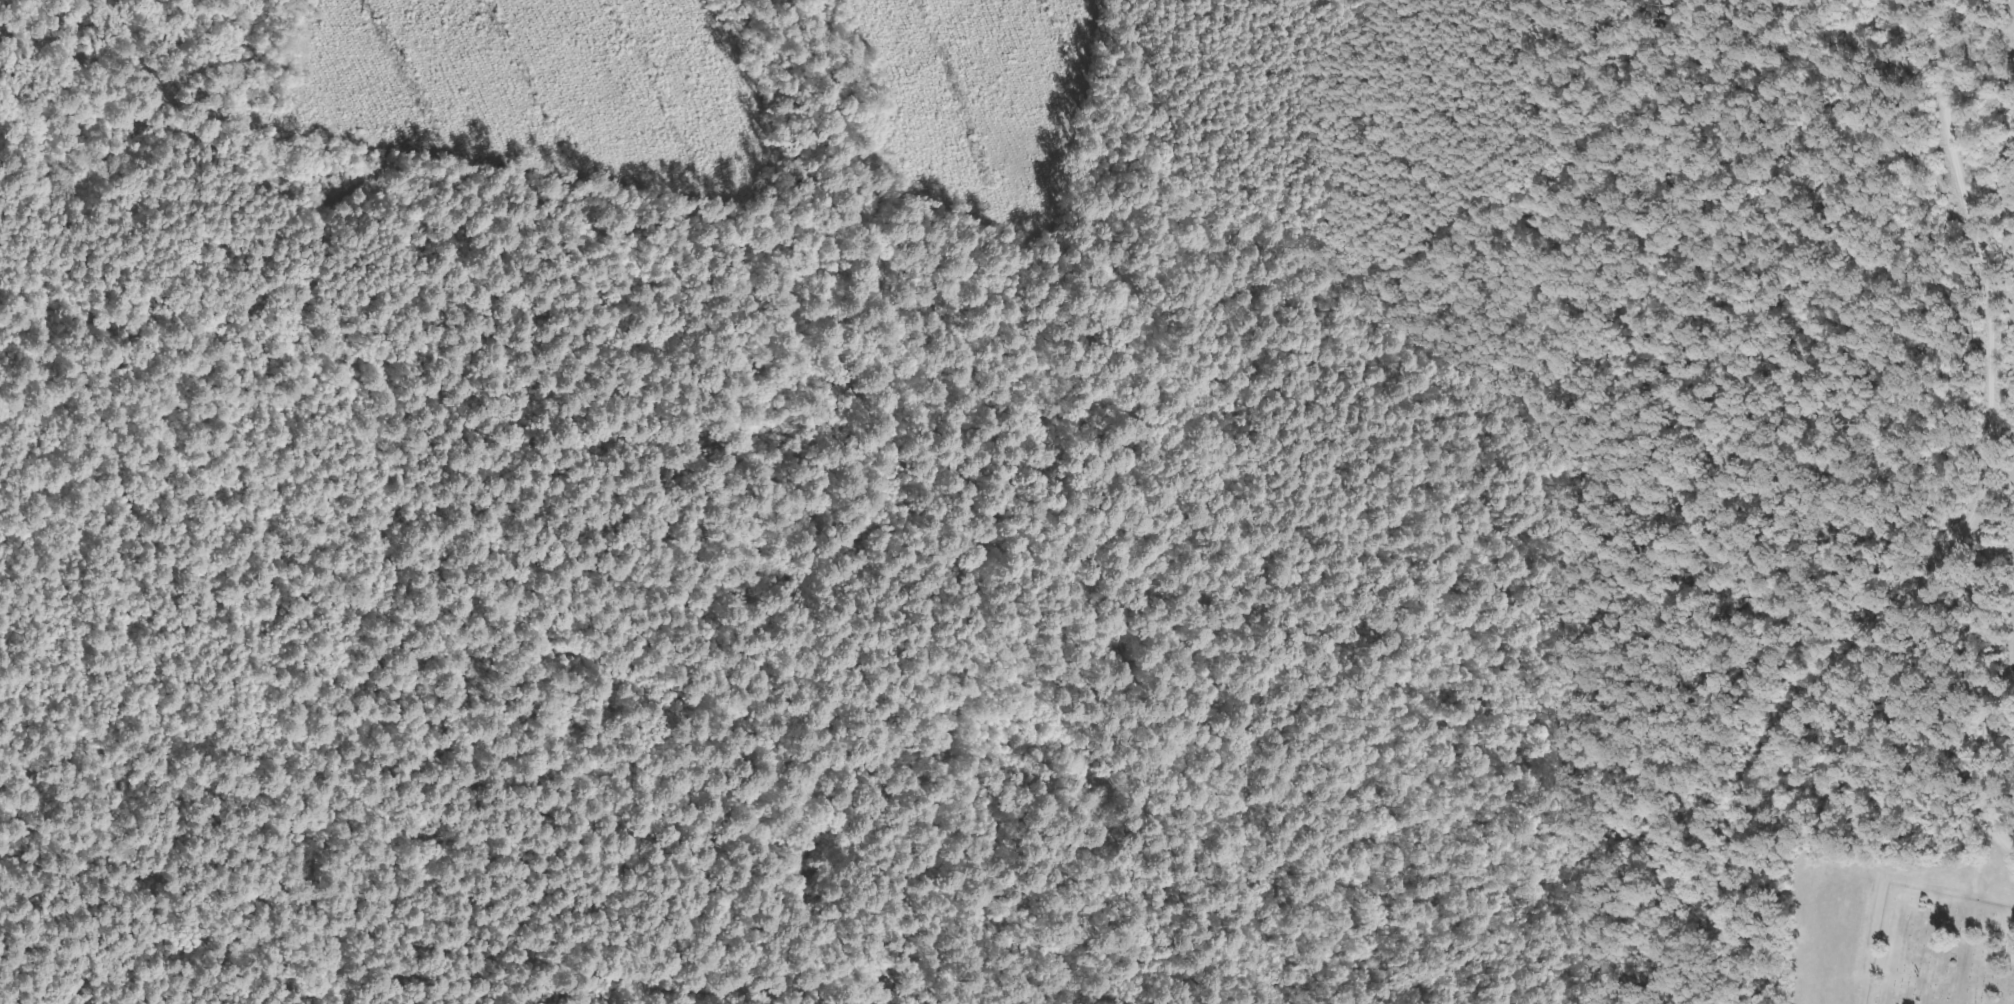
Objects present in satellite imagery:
road: (1951, 538)
park: (1941, 951)

